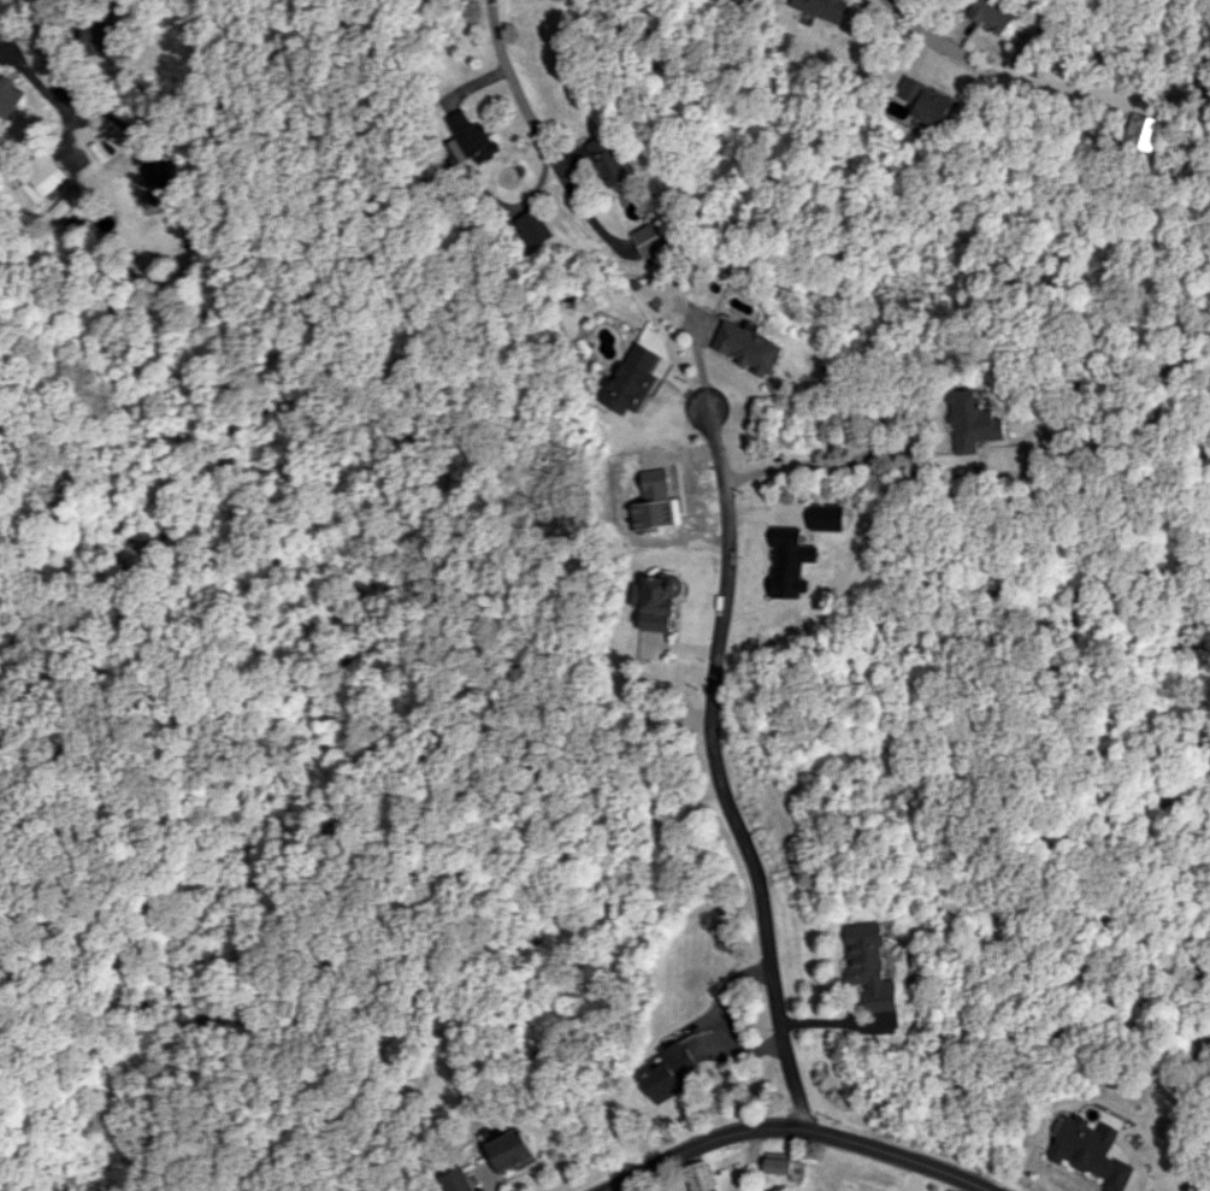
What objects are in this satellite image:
building: (821, 7)
building: (994, 13)
building: (92, 35)
road: (1008, 77)
road: (39, 86)
road: (67, 88)
building: (12, 90)
building: (925, 101)
building: (1144, 131)
road: (539, 142)
building: (608, 160)
building: (39, 175)
building: (150, 182)
building: (532, 228)
building: (653, 238)
building: (750, 348)
building: (631, 379)
building: (974, 420)
road: (845, 464)
building: (655, 601)
road: (714, 773)
building: (869, 966)
road: (832, 1020)
building: (669, 1072)
road: (804, 1133)
building: (513, 1150)
building: (1093, 1150)
building: (777, 1162)
building: (698, 1175)
building: (456, 1180)

